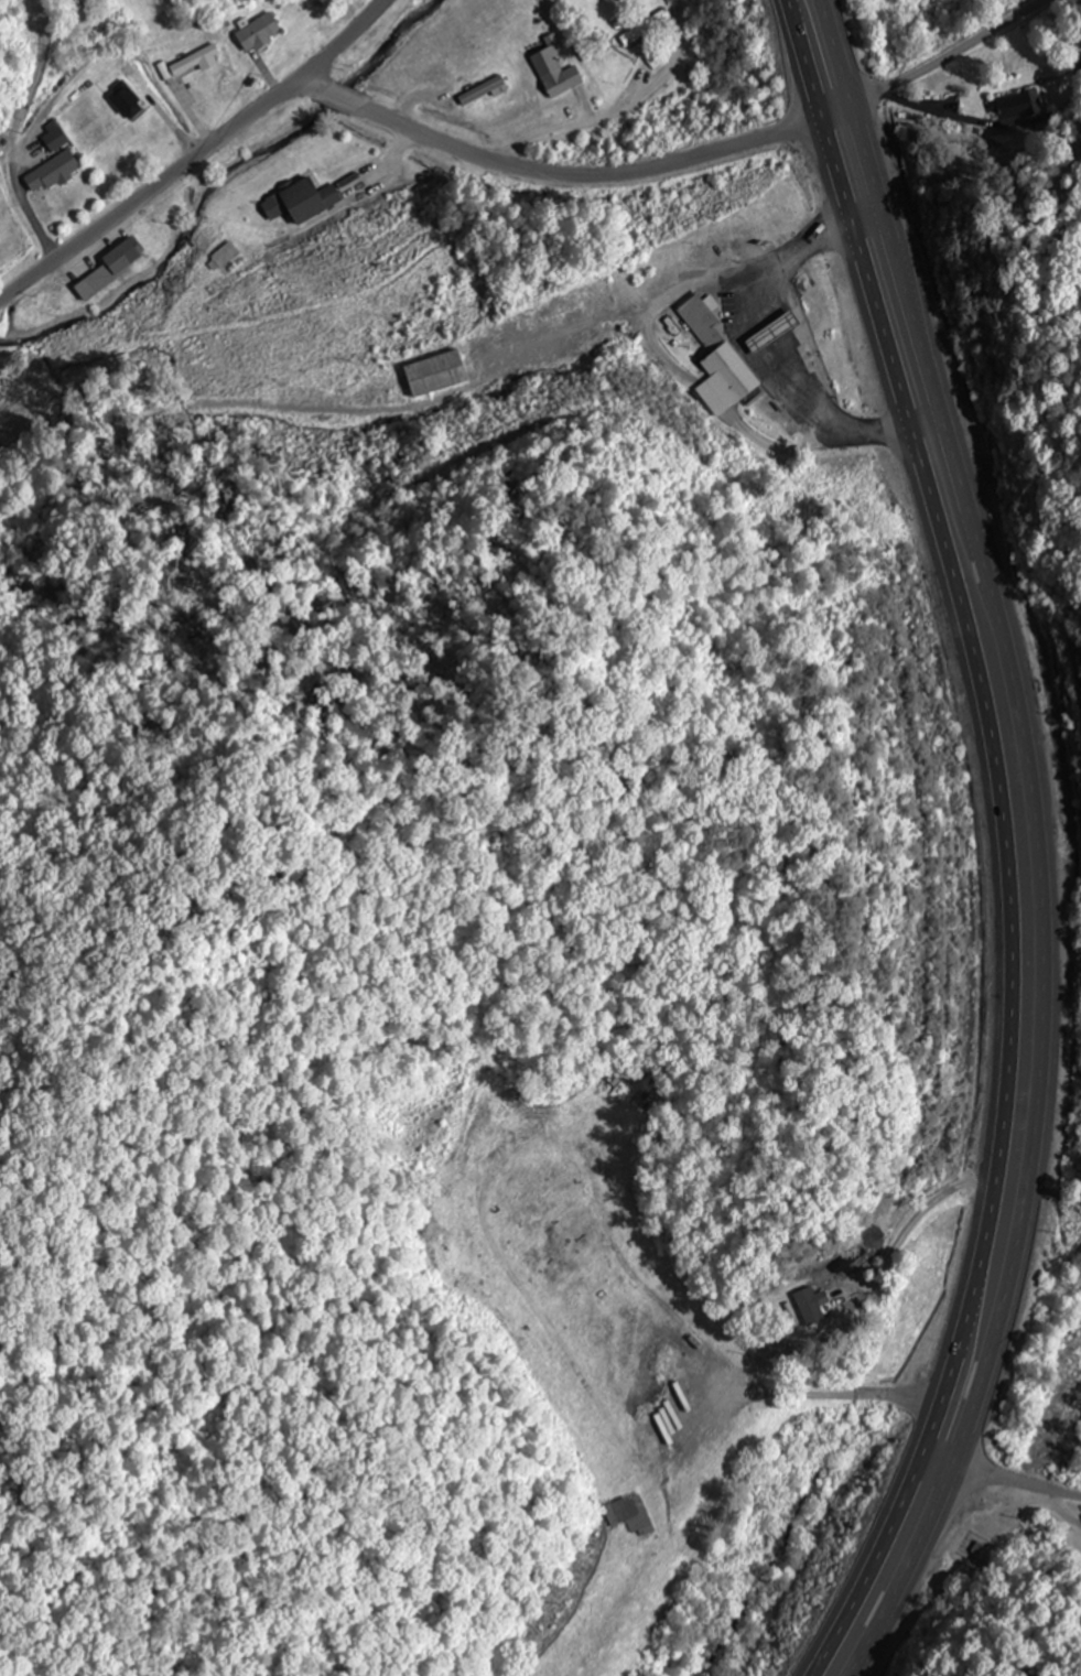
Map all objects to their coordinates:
building: (645, 26)
building: (255, 32)
road: (950, 60)
building: (553, 67)
building: (480, 90)
building: (123, 101)
building: (1014, 107)
building: (52, 137)
road: (194, 152)
building: (48, 172)
road: (566, 174)
building: (298, 202)
building: (223, 253)
building: (109, 266)
building: (769, 332)
building: (715, 360)
building: (432, 372)
road: (1029, 841)
road: (997, 842)
building: (802, 1305)
road: (991, 1499)
building: (627, 1514)
road: (1070, 1518)

